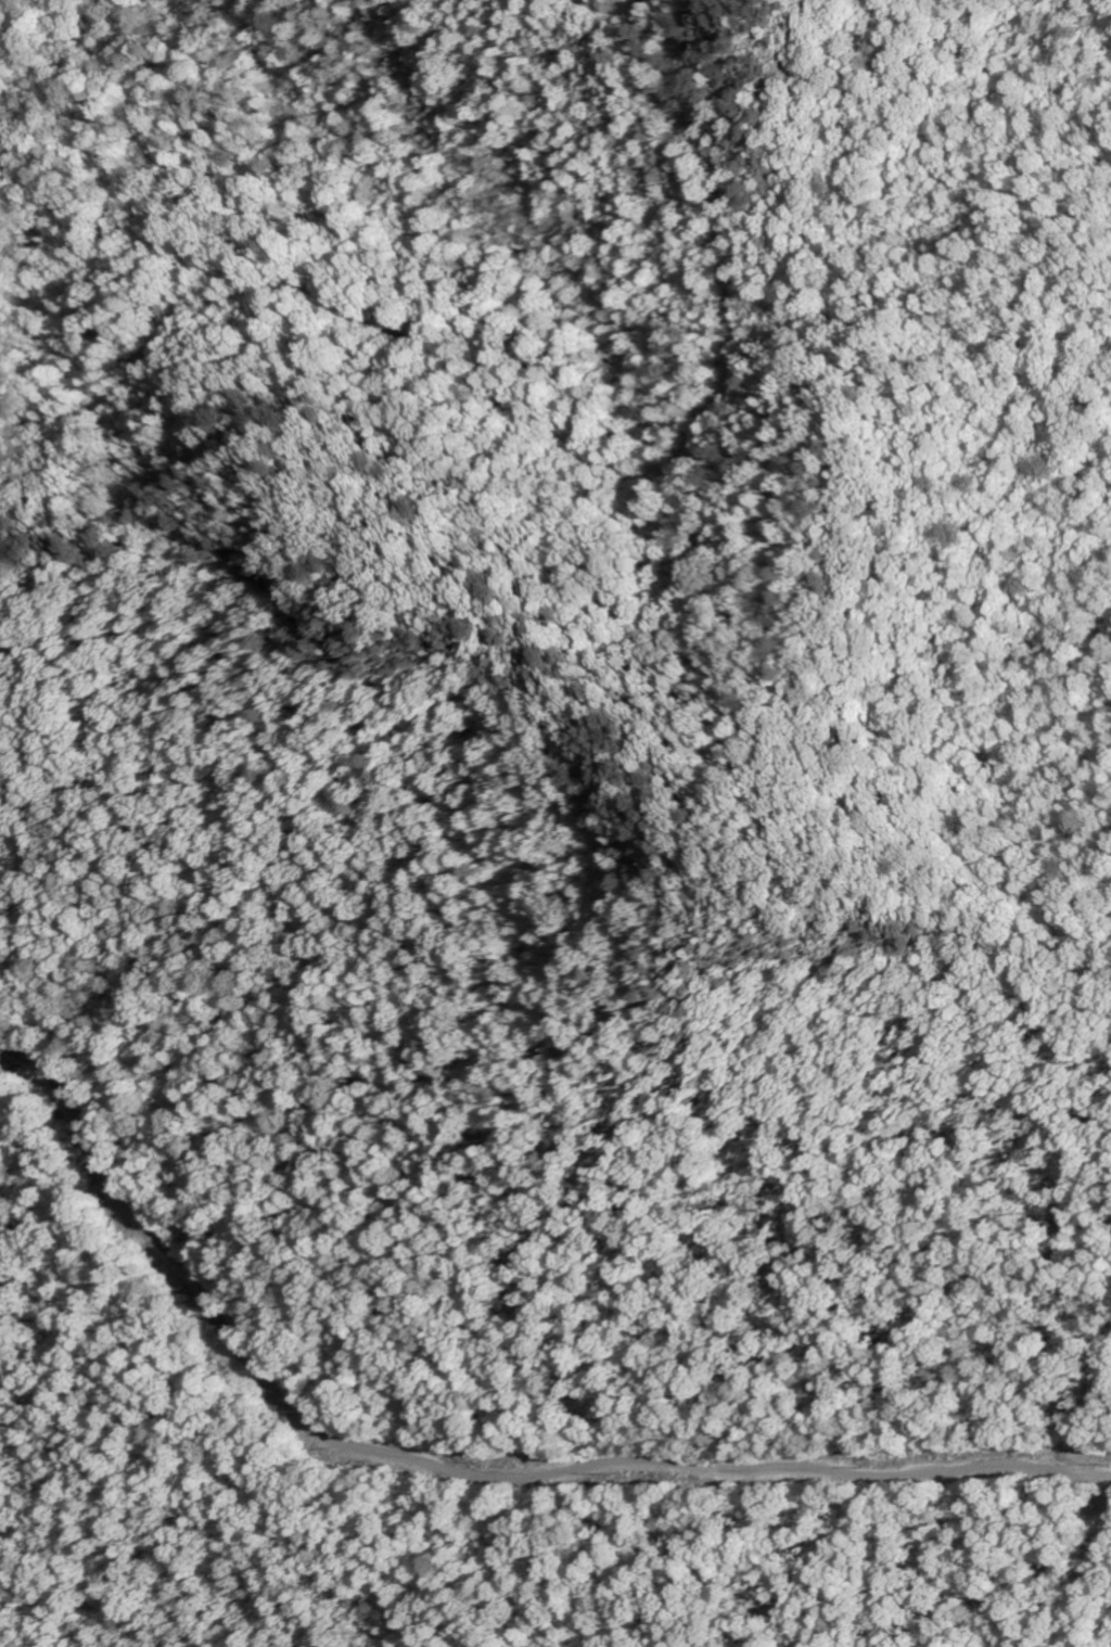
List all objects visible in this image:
road: (459, 1471)

